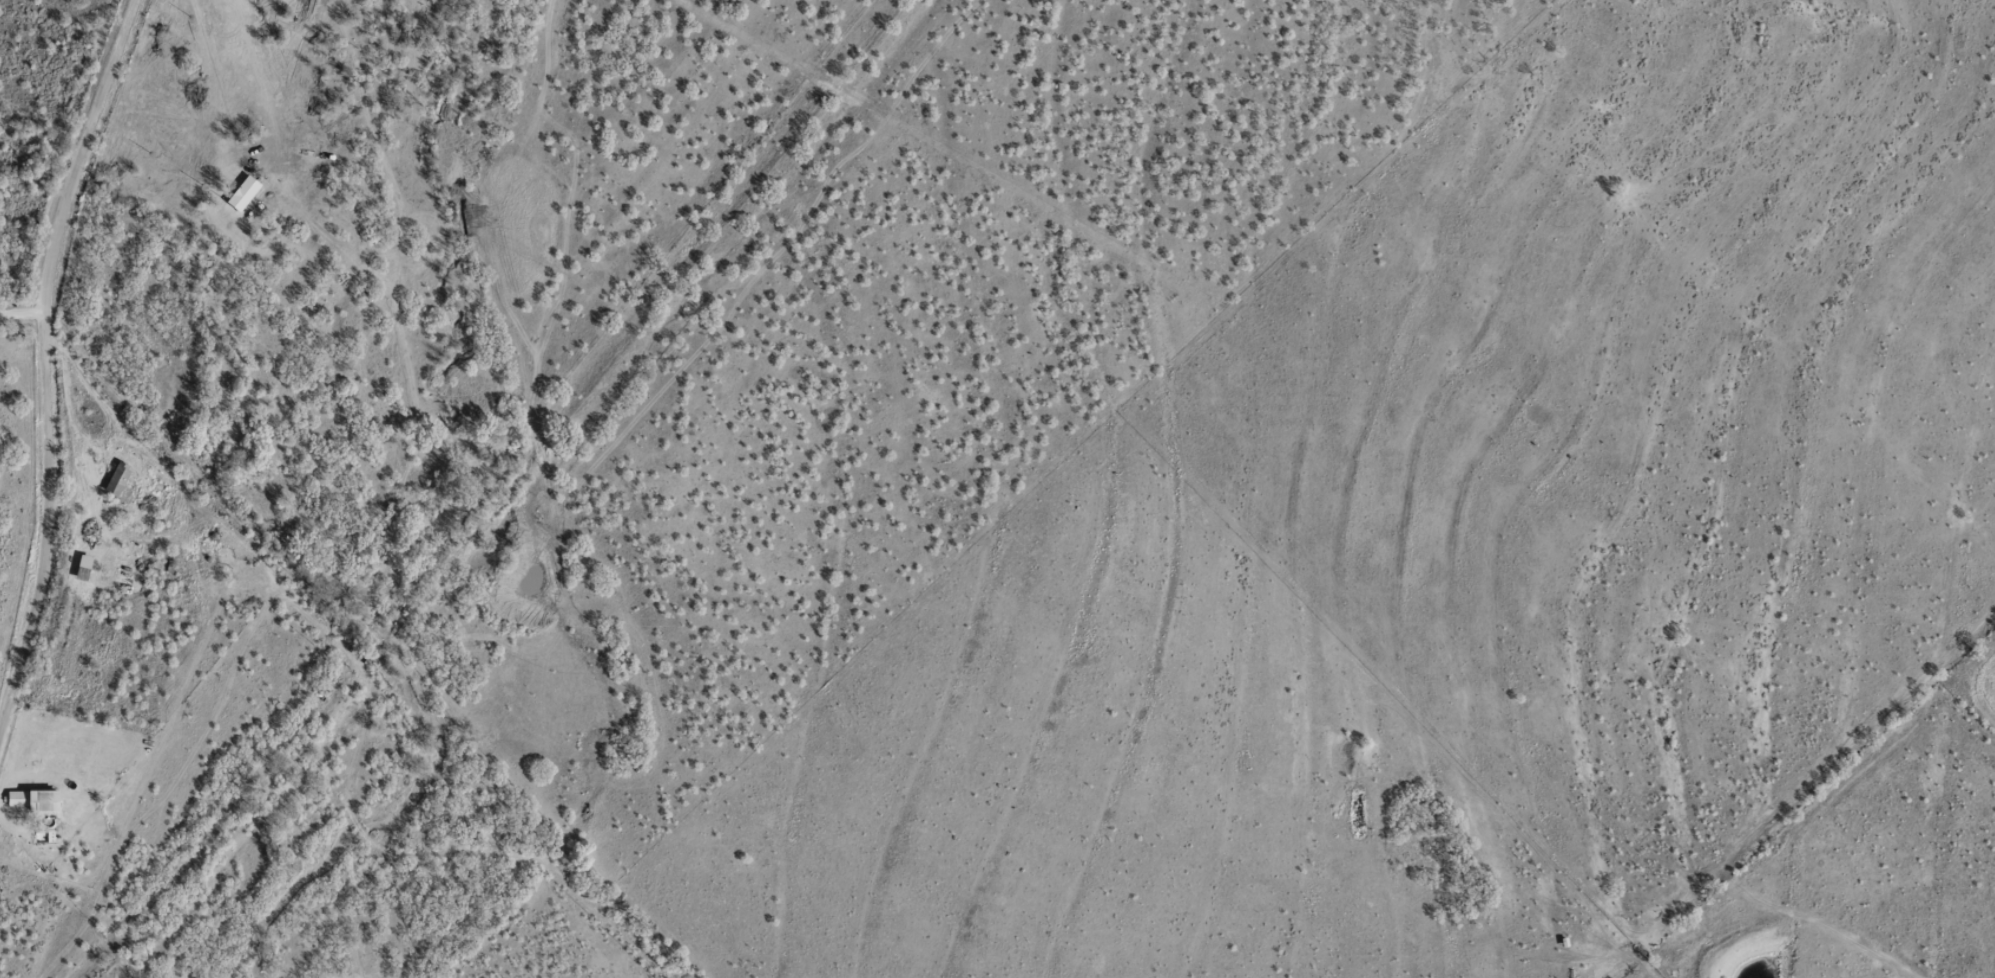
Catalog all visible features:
road: (31, 317)
road: (15, 332)
building: (117, 479)
railway: (521, 504)
building: (83, 568)
building: (34, 799)

